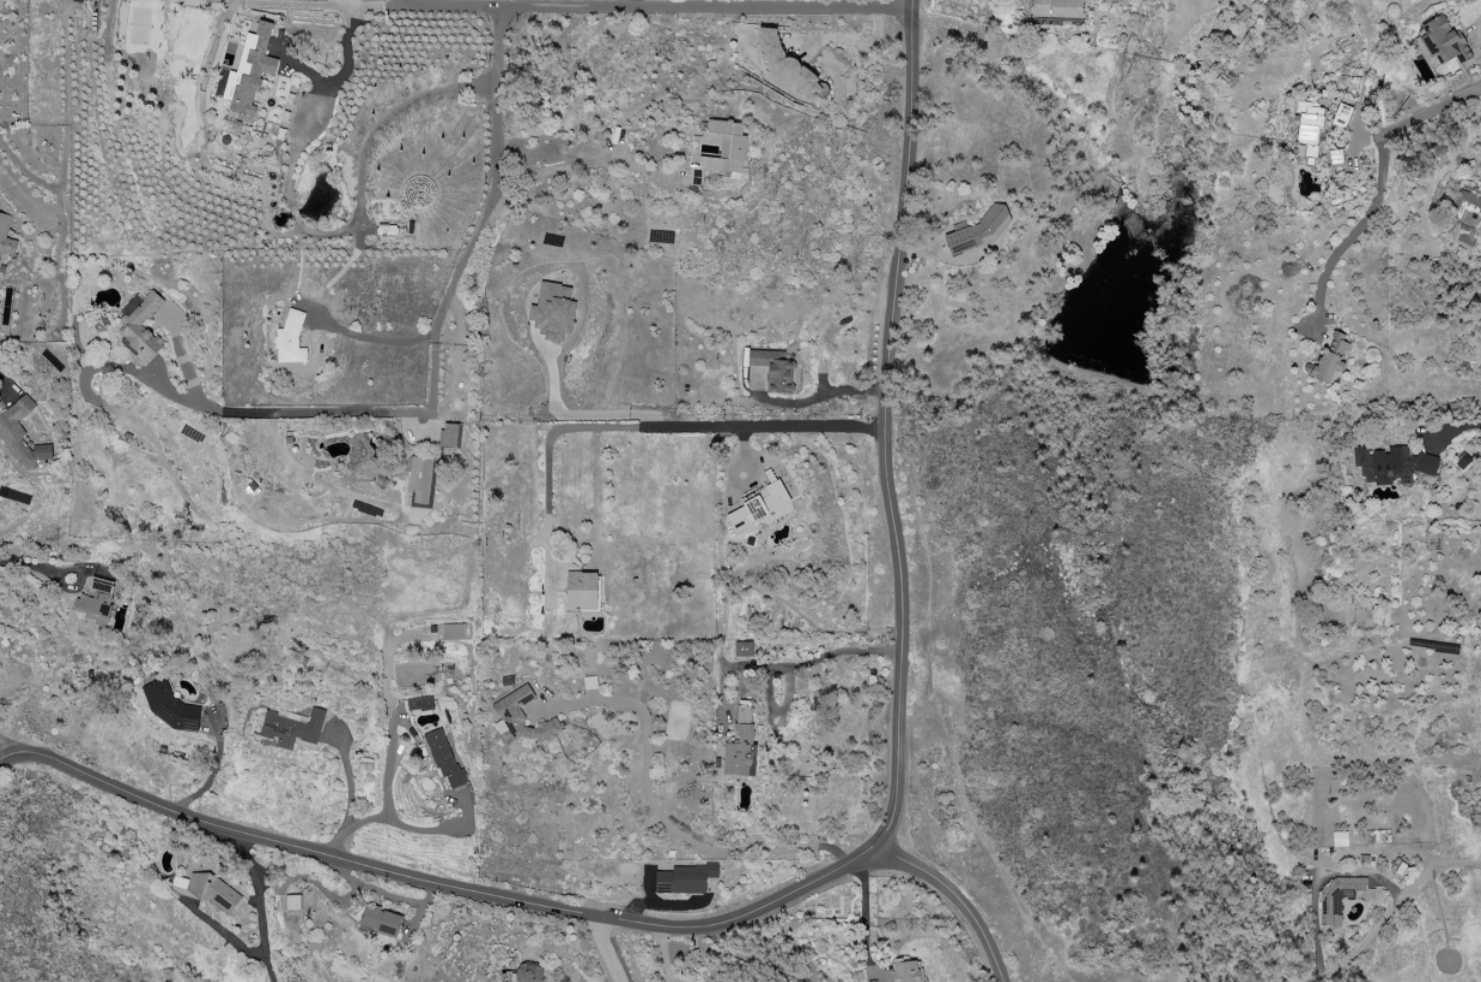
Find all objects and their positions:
road: (519, 3)
road: (632, 3)
road: (653, 7)
building: (1057, 8)
road: (1477, 33)
road: (850, 41)
building: (1441, 42)
road: (346, 47)
building: (247, 71)
building: (1340, 115)
road: (1400, 124)
building: (1308, 125)
building: (1437, 149)
building: (721, 151)
building: (1334, 156)
road: (578, 163)
building: (1467, 209)
road: (359, 214)
building: (5, 235)
road: (1329, 259)
building: (552, 311)
building: (140, 325)
road: (374, 338)
building: (290, 339)
road: (437, 343)
building: (1328, 358)
building: (774, 368)
road: (2, 385)
road: (830, 392)
road: (580, 412)
road: (640, 426)
road: (886, 427)
road: (1453, 428)
building: (447, 433)
building: (20, 435)
building: (1461, 460)
building: (1391, 465)
building: (420, 480)
building: (758, 502)
road: (36, 566)
building: (580, 590)
building: (95, 600)
building: (452, 631)
building: (742, 648)
road: (790, 664)
building: (419, 703)
building: (168, 706)
building: (522, 719)
building: (291, 726)
building: (740, 743)
building: (443, 758)
road: (391, 764)
road: (214, 770)
road: (349, 780)
road: (657, 809)
road: (406, 825)
building: (1339, 838)
road: (1399, 851)
road: (344, 859)
road: (1318, 872)
building: (683, 879)
road: (794, 888)
building: (209, 890)
building: (1336, 897)
building: (292, 902)
road: (957, 902)
road: (255, 909)
road: (863, 918)
building: (380, 920)
road: (1315, 931)
road: (600, 947)
road: (662, 952)
road: (752, 958)
building: (906, 970)
building: (528, 972)
building: (557, 981)

